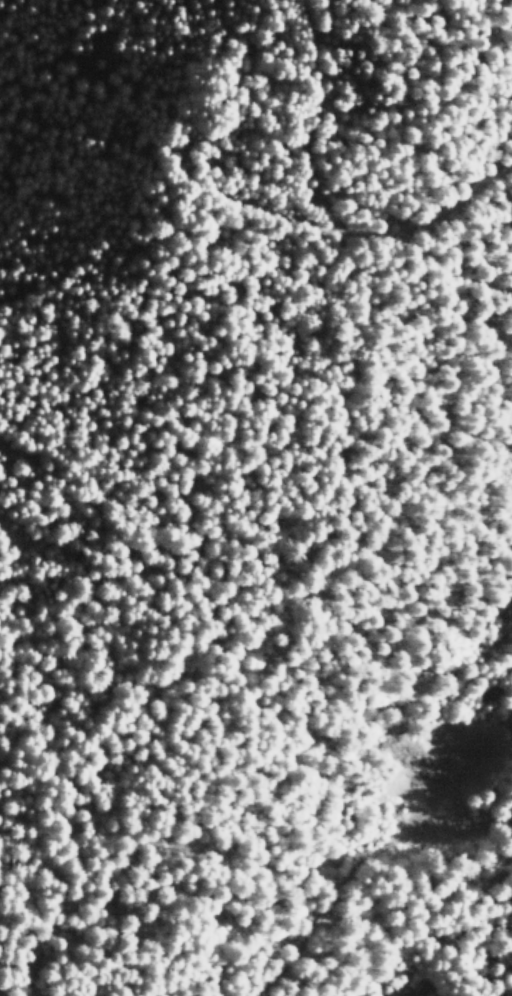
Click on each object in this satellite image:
road: (431, 192)
road: (359, 857)

